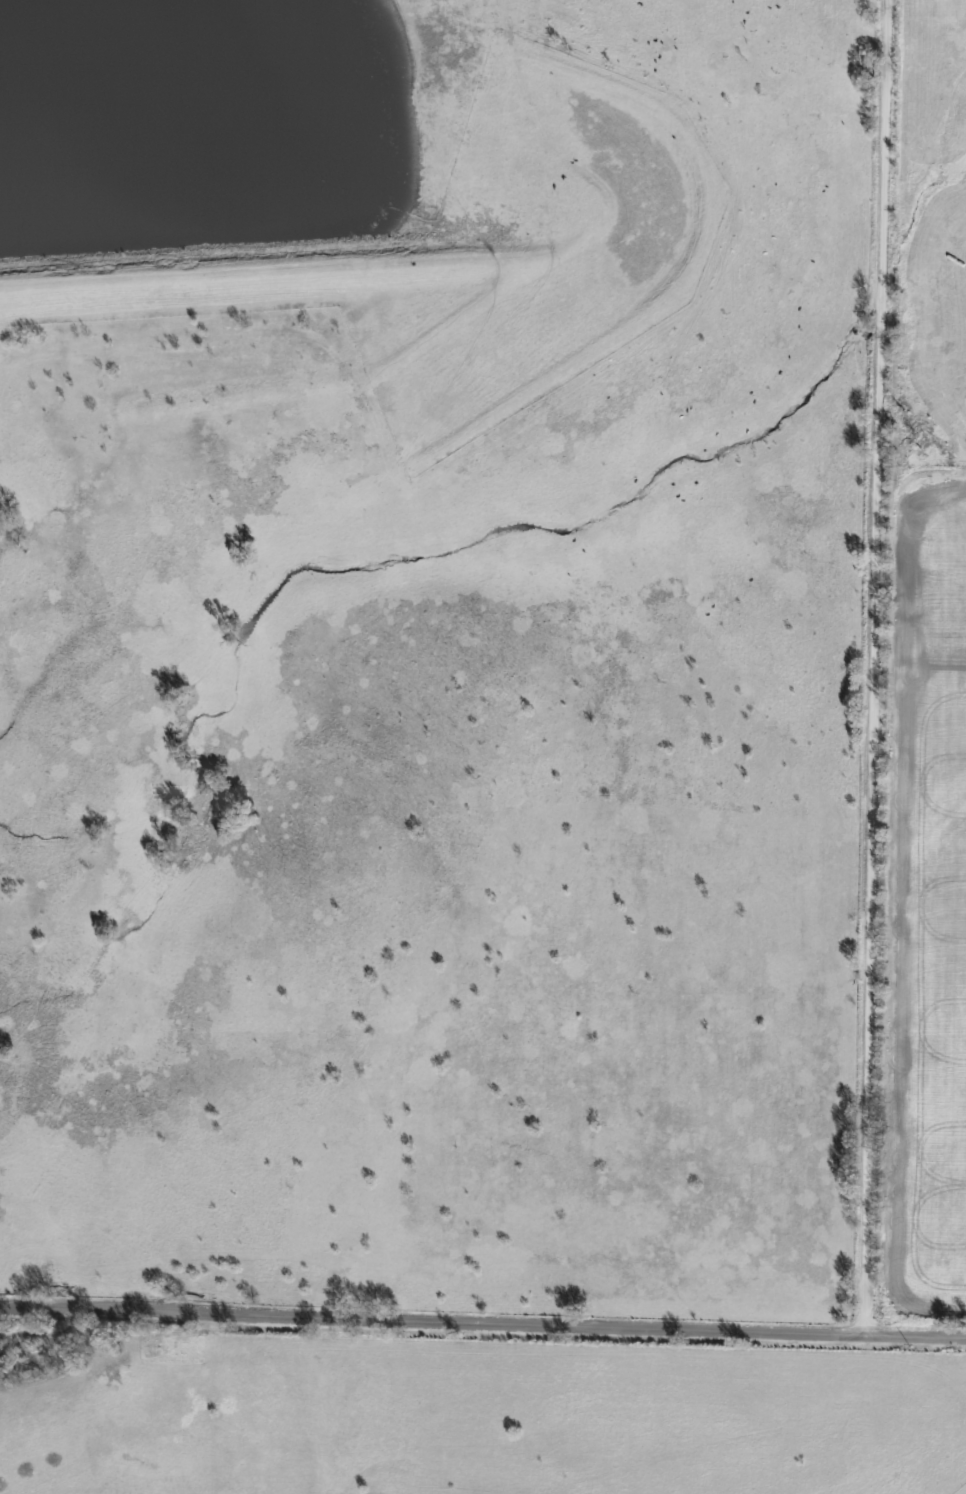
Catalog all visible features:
road: (876, 667)
road: (433, 1320)
road: (916, 1336)

